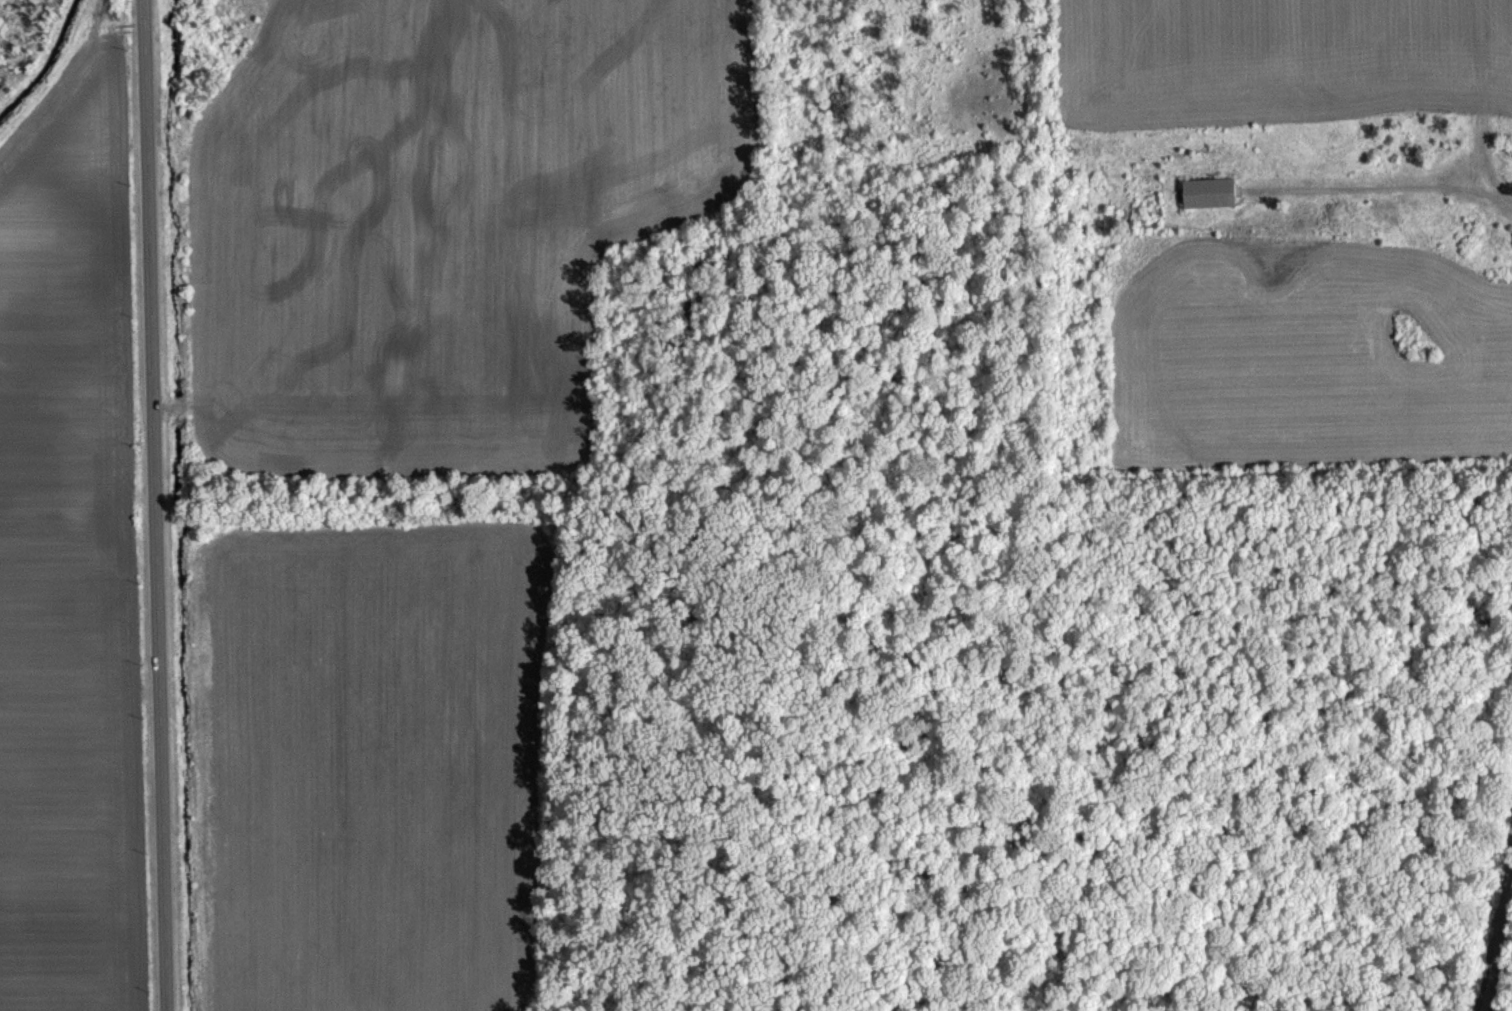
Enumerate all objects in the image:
building: (1210, 203)
road: (154, 505)

